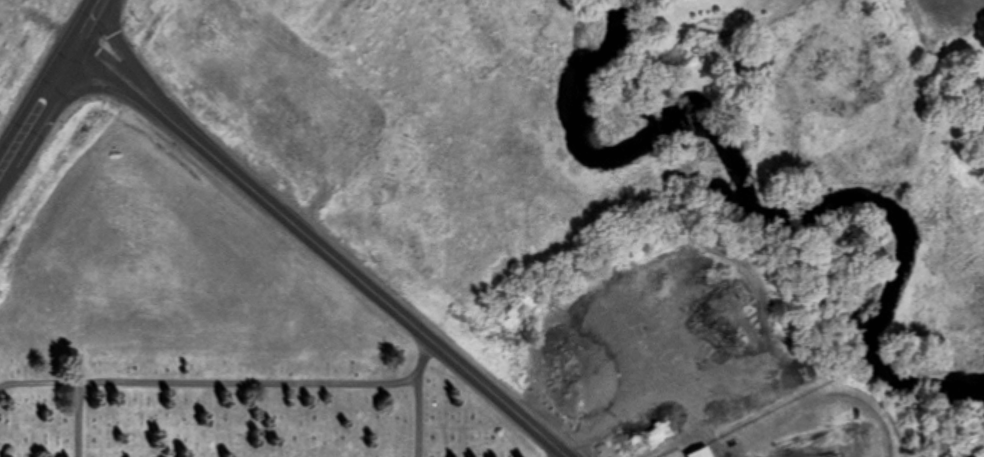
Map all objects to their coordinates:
road: (92, 24)
road: (130, 61)
road: (123, 81)
road: (39, 107)
crop: (152, 254)
road: (365, 287)
road: (228, 381)
park: (252, 397)
road: (419, 417)
road: (76, 421)
building: (701, 452)
road: (555, 453)

